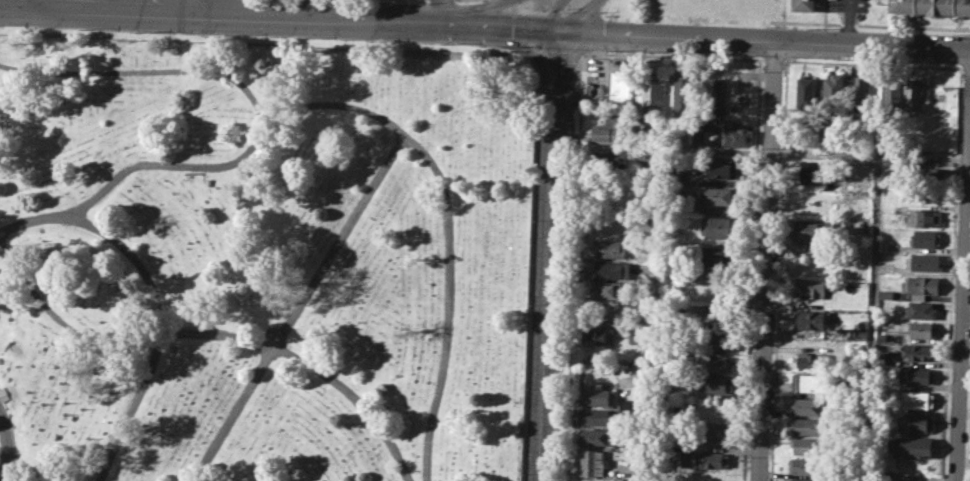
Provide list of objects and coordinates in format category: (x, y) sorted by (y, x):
road: (29, 2)
road: (173, 5)
building: (805, 6)
building: (932, 8)
road: (440, 11)
road: (472, 11)
road: (553, 14)
road: (279, 15)
road: (579, 16)
road: (869, 24)
traffic signals: (559, 28)
road: (779, 31)
road: (764, 39)
road: (148, 71)
building: (834, 90)
building: (891, 90)
building: (860, 91)
building: (653, 92)
building: (684, 93)
building: (714, 93)
building: (806, 93)
building: (625, 95)
building: (913, 96)
road: (396, 124)
building: (826, 128)
building: (611, 129)
building: (736, 135)
road: (824, 154)
building: (610, 159)
building: (645, 161)
building: (722, 168)
building: (816, 171)
building: (863, 173)
building: (885, 174)
building: (924, 175)
building: (718, 195)
building: (923, 217)
building: (719, 225)
building: (813, 232)
building: (925, 238)
building: (612, 247)
road: (550, 254)
park: (263, 256)
building: (715, 256)
road: (656, 259)
road: (768, 260)
building: (923, 261)
building: (610, 268)
road: (871, 271)
building: (674, 279)
building: (921, 285)
building: (609, 288)
building: (809, 288)
building: (884, 293)
road: (159, 297)
road: (298, 306)
road: (962, 309)
building: (920, 310)
building: (710, 314)
building: (805, 320)
building: (920, 328)
building: (600, 334)
building: (882, 336)
building: (637, 337)
building: (709, 342)
building: (920, 352)
building: (887, 357)
building: (801, 360)
building: (712, 363)
road: (311, 364)
building: (638, 368)
building: (917, 375)
building: (809, 382)
building: (713, 383)
building: (598, 394)
building: (918, 399)
building: (624, 402)
building: (810, 406)
building: (598, 416)
building: (915, 422)
building: (808, 426)
building: (716, 430)
building: (596, 436)
building: (806, 446)
building: (914, 447)
road: (5, 452)
building: (704, 459)
building: (593, 461)
building: (806, 465)
building: (632, 479)
building: (805, 479)

